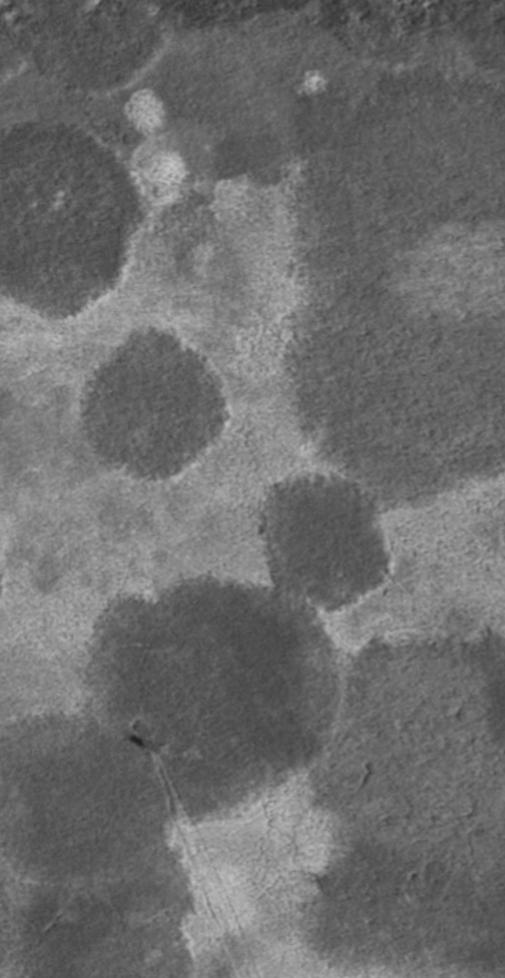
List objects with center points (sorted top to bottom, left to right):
building: (171, 750)

